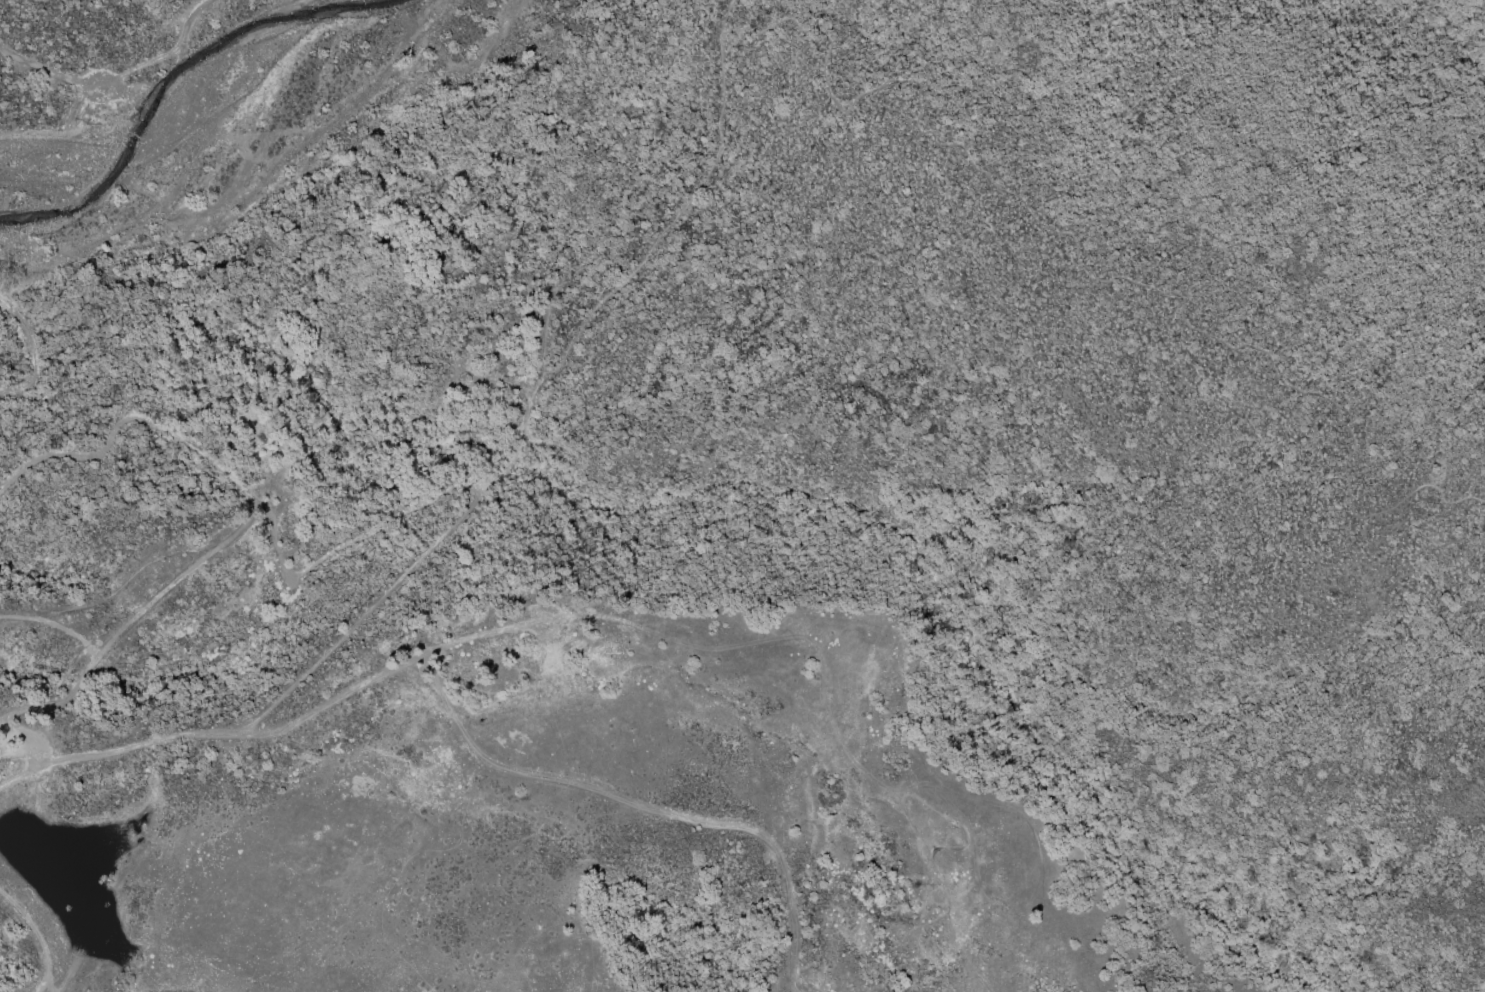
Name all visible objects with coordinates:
road: (724, 15)
road: (732, 31)
road: (73, 121)
river: (210, 150)
road: (29, 353)

